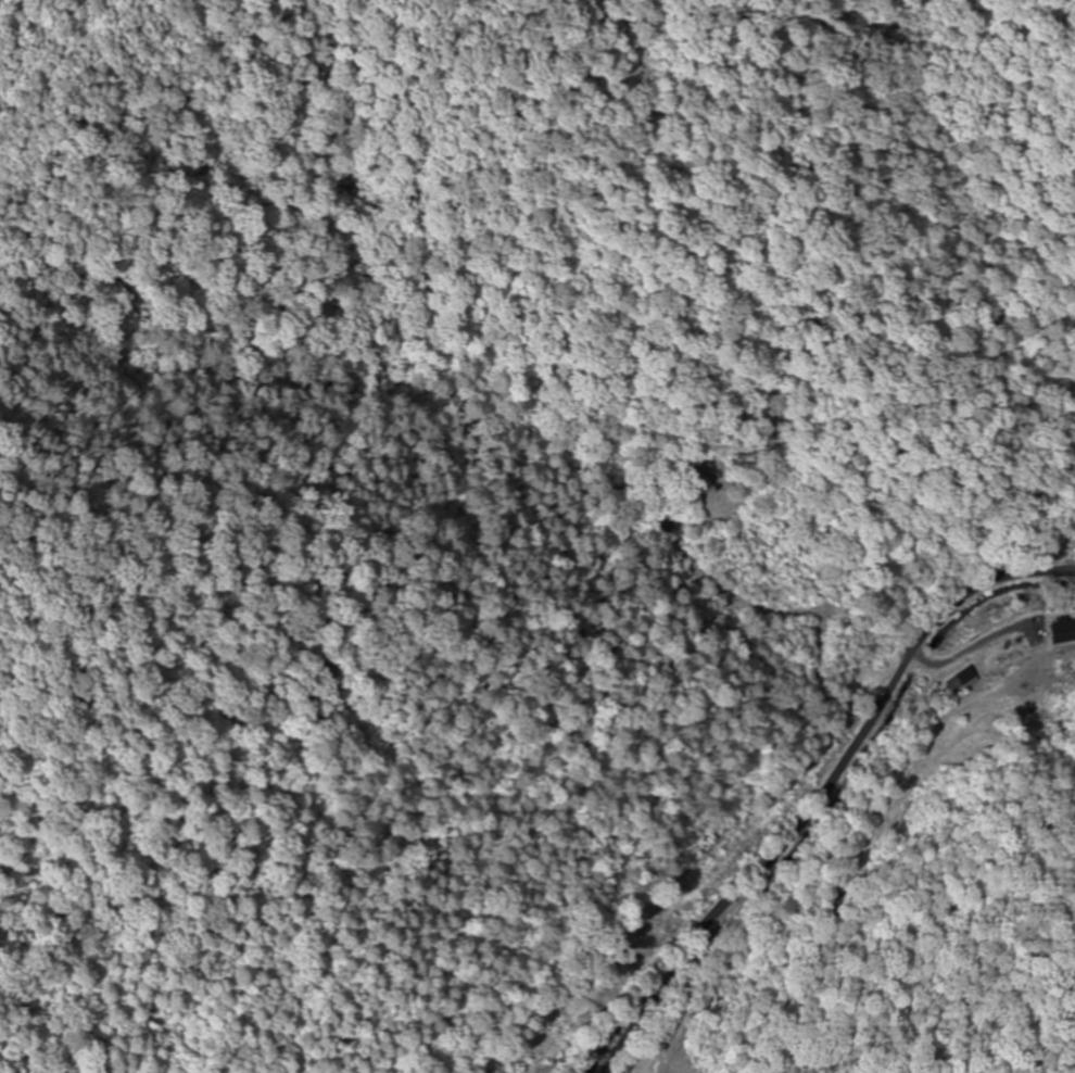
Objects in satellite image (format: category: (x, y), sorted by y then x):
building: (1062, 632)
building: (1006, 660)
road: (771, 749)

